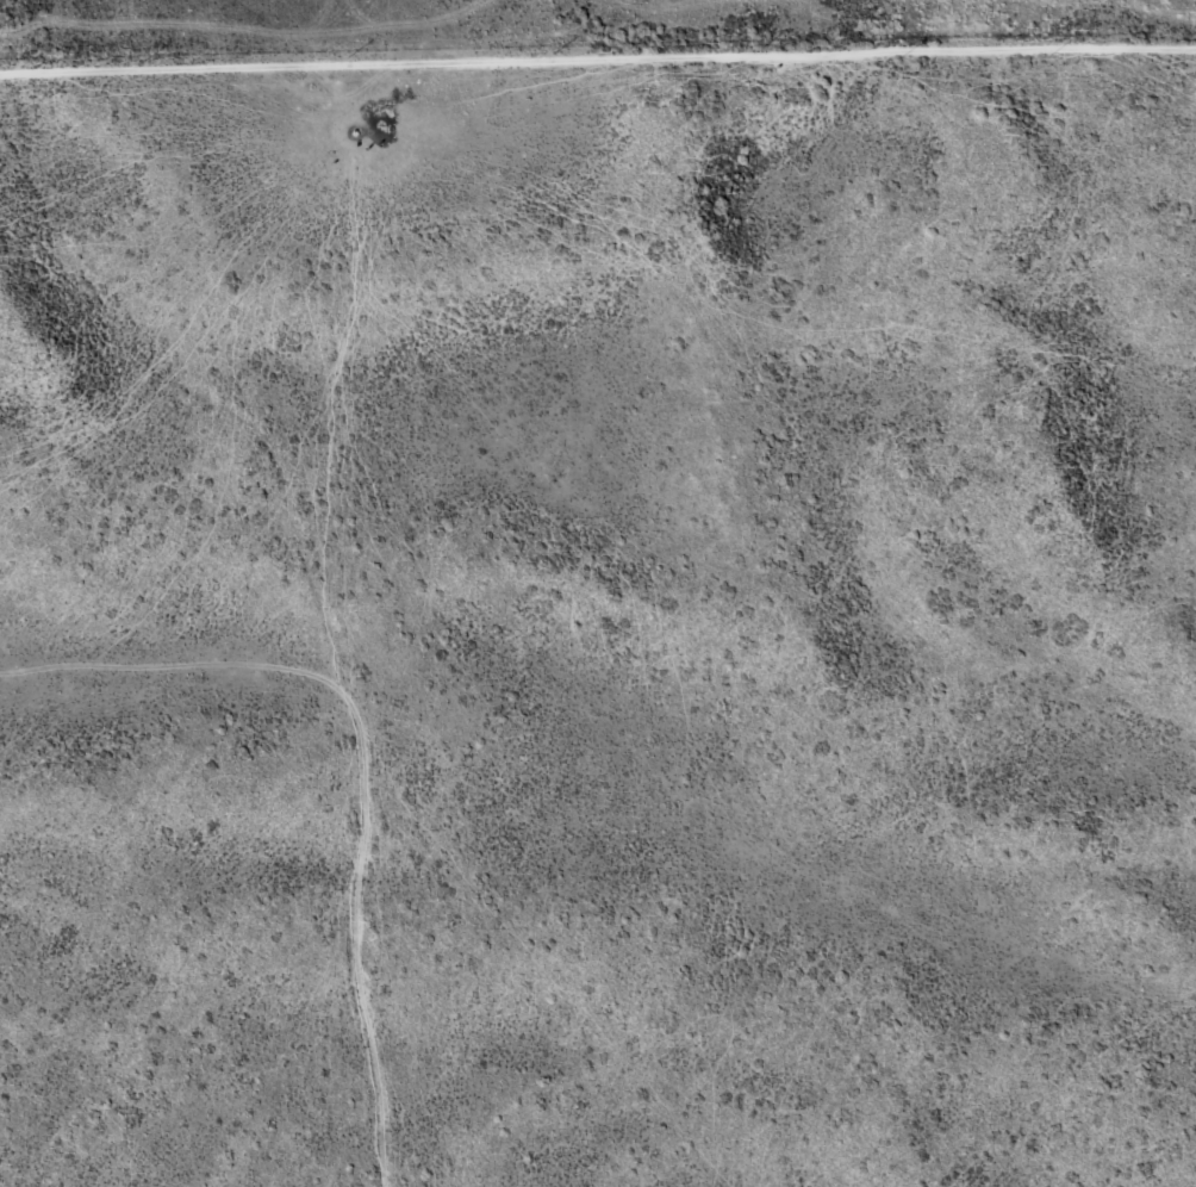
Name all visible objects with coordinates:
road: (598, 62)

